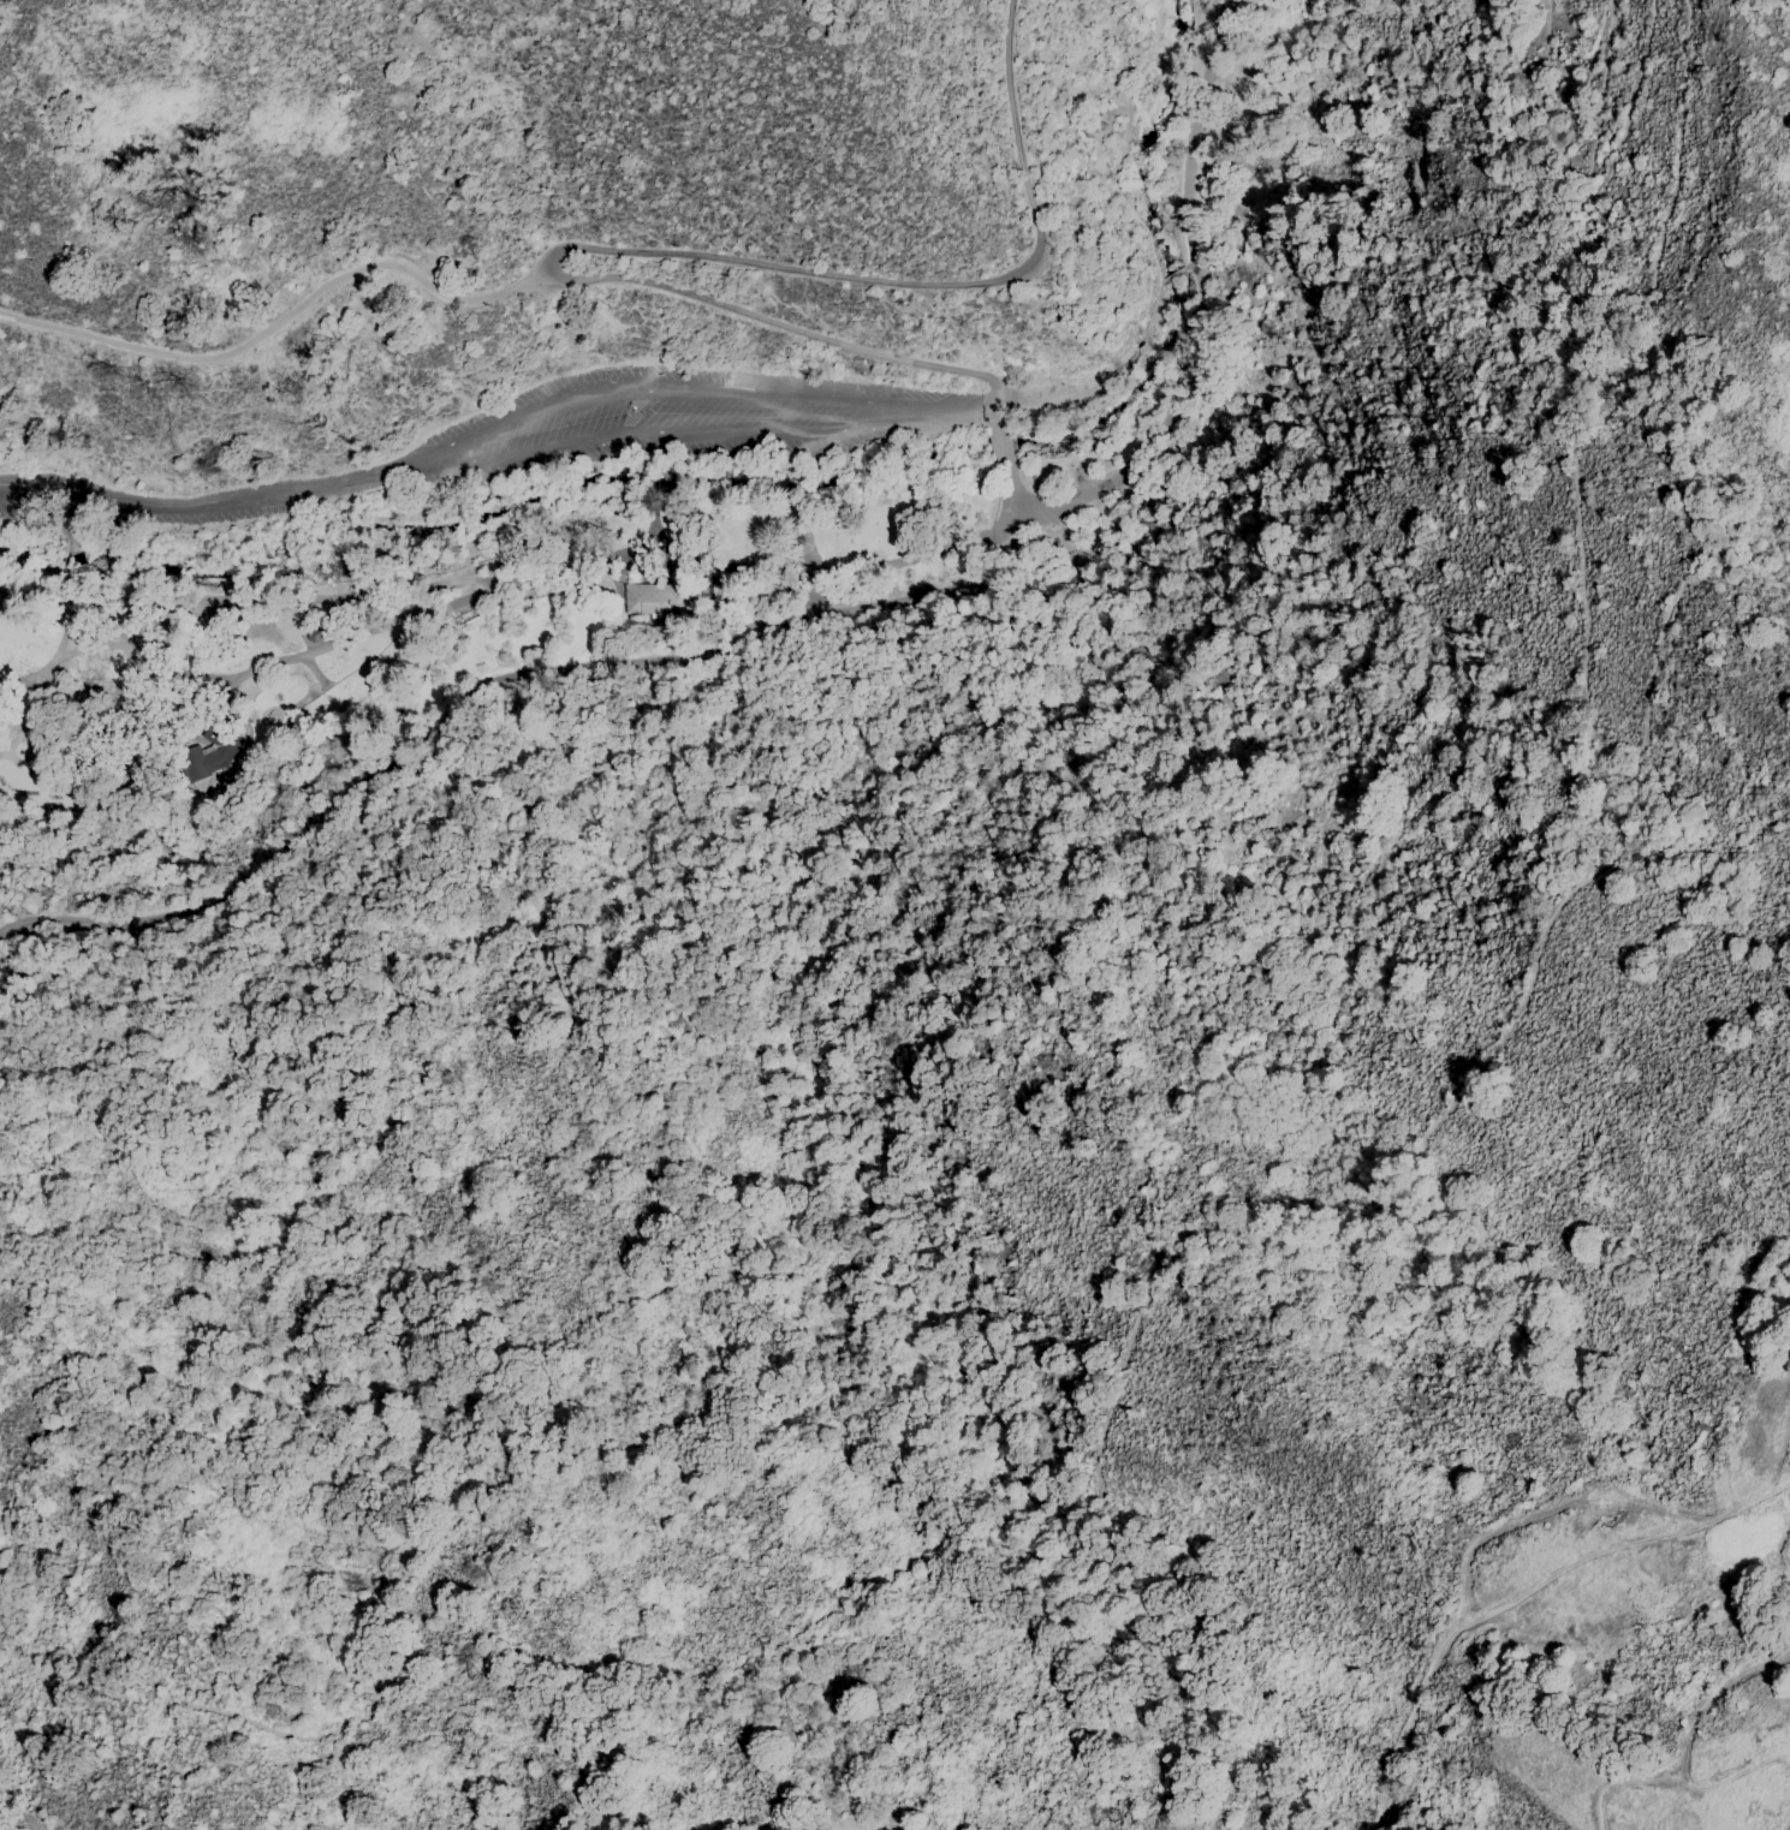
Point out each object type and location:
road: (1425, 59)
road: (1590, 111)
road: (1131, 141)
road: (1185, 274)
road: (1171, 276)
road: (1190, 286)
road: (915, 292)
road: (281, 320)
road: (791, 323)
road: (1117, 372)
road: (644, 387)
road: (963, 404)
road: (1016, 416)
road: (652, 431)
road: (655, 452)
road: (1024, 452)
parking lot: (517, 453)
road: (656, 488)
road: (1039, 494)
road: (196, 507)
road: (65, 520)
road: (1021, 525)
road: (655, 529)
building: (799, 540)
road: (71, 561)
road: (1729, 561)
road: (1583, 568)
road: (500, 573)
road: (75, 585)
building: (702, 594)
building: (656, 598)
building: (319, 633)
road: (868, 673)
road: (246, 674)
road: (480, 691)
park: (54, 714)
road: (578, 723)
building: (209, 753)
park: (882, 862)
road: (278, 967)
road: (212, 1685)

